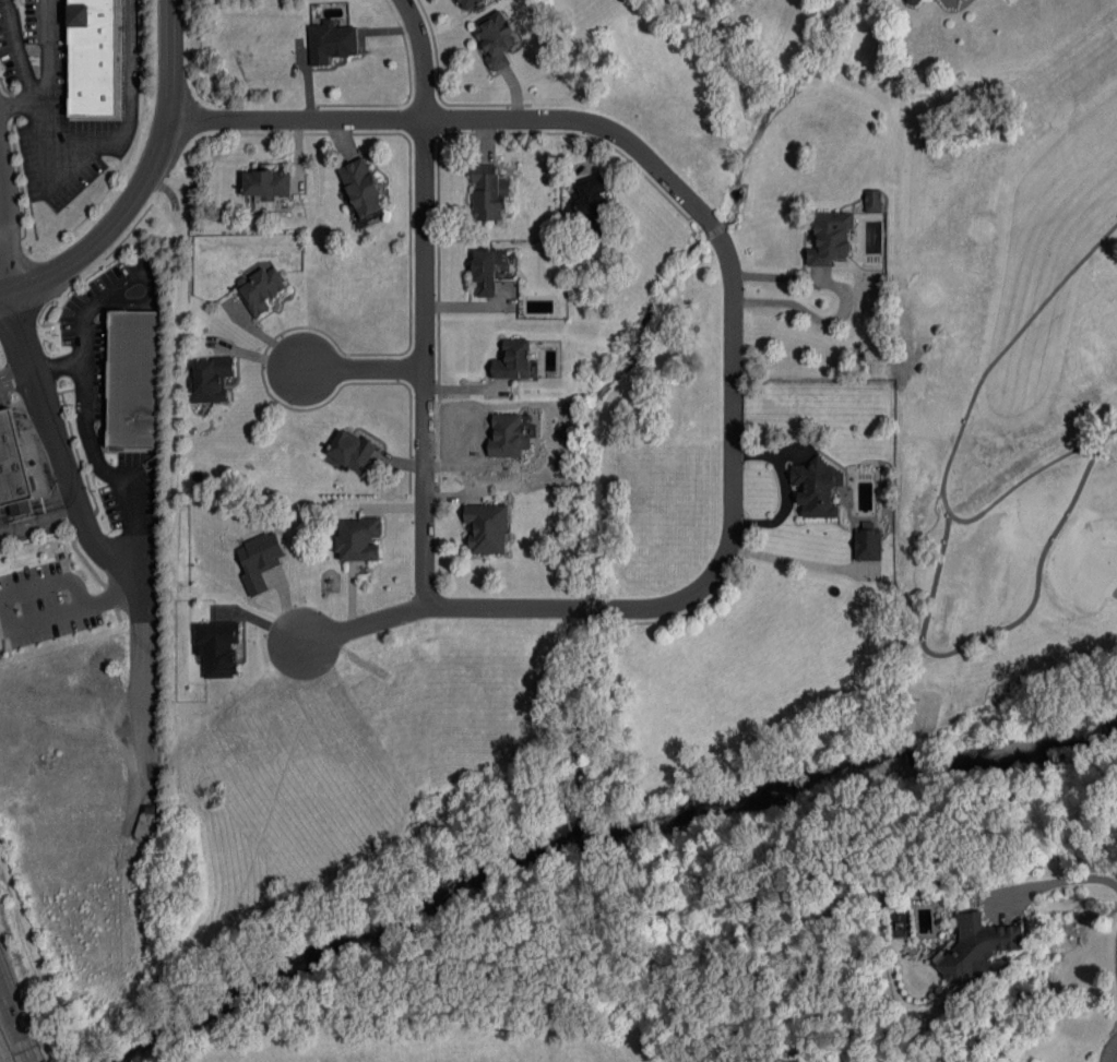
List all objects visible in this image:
building: (470, 3)
building: (496, 38)
building: (332, 41)
road: (14, 47)
road: (426, 57)
building: (93, 58)
road: (43, 64)
road: (145, 183)
building: (268, 183)
building: (363, 188)
building: (489, 192)
building: (874, 201)
building: (595, 205)
building: (832, 238)
road: (1, 256)
building: (488, 270)
road: (147, 278)
building: (261, 288)
road: (842, 298)
road: (736, 325)
road: (80, 336)
road: (19, 347)
building: (515, 360)
road: (428, 361)
road: (365, 369)
building: (132, 379)
building: (211, 379)
park: (1006, 390)
road: (52, 440)
road: (91, 444)
building: (352, 450)
building: (13, 467)
building: (817, 487)
road: (781, 490)
building: (487, 527)
building: (358, 538)
building: (868, 544)
building: (259, 559)
road: (793, 565)
road: (143, 572)
park: (1095, 573)
road: (49, 581)
road: (118, 583)
road: (36, 617)
building: (218, 647)
river: (601, 839)
road: (1058, 879)
building: (976, 947)
road: (1115, 955)
road: (15, 1022)
road: (1110, 1051)

